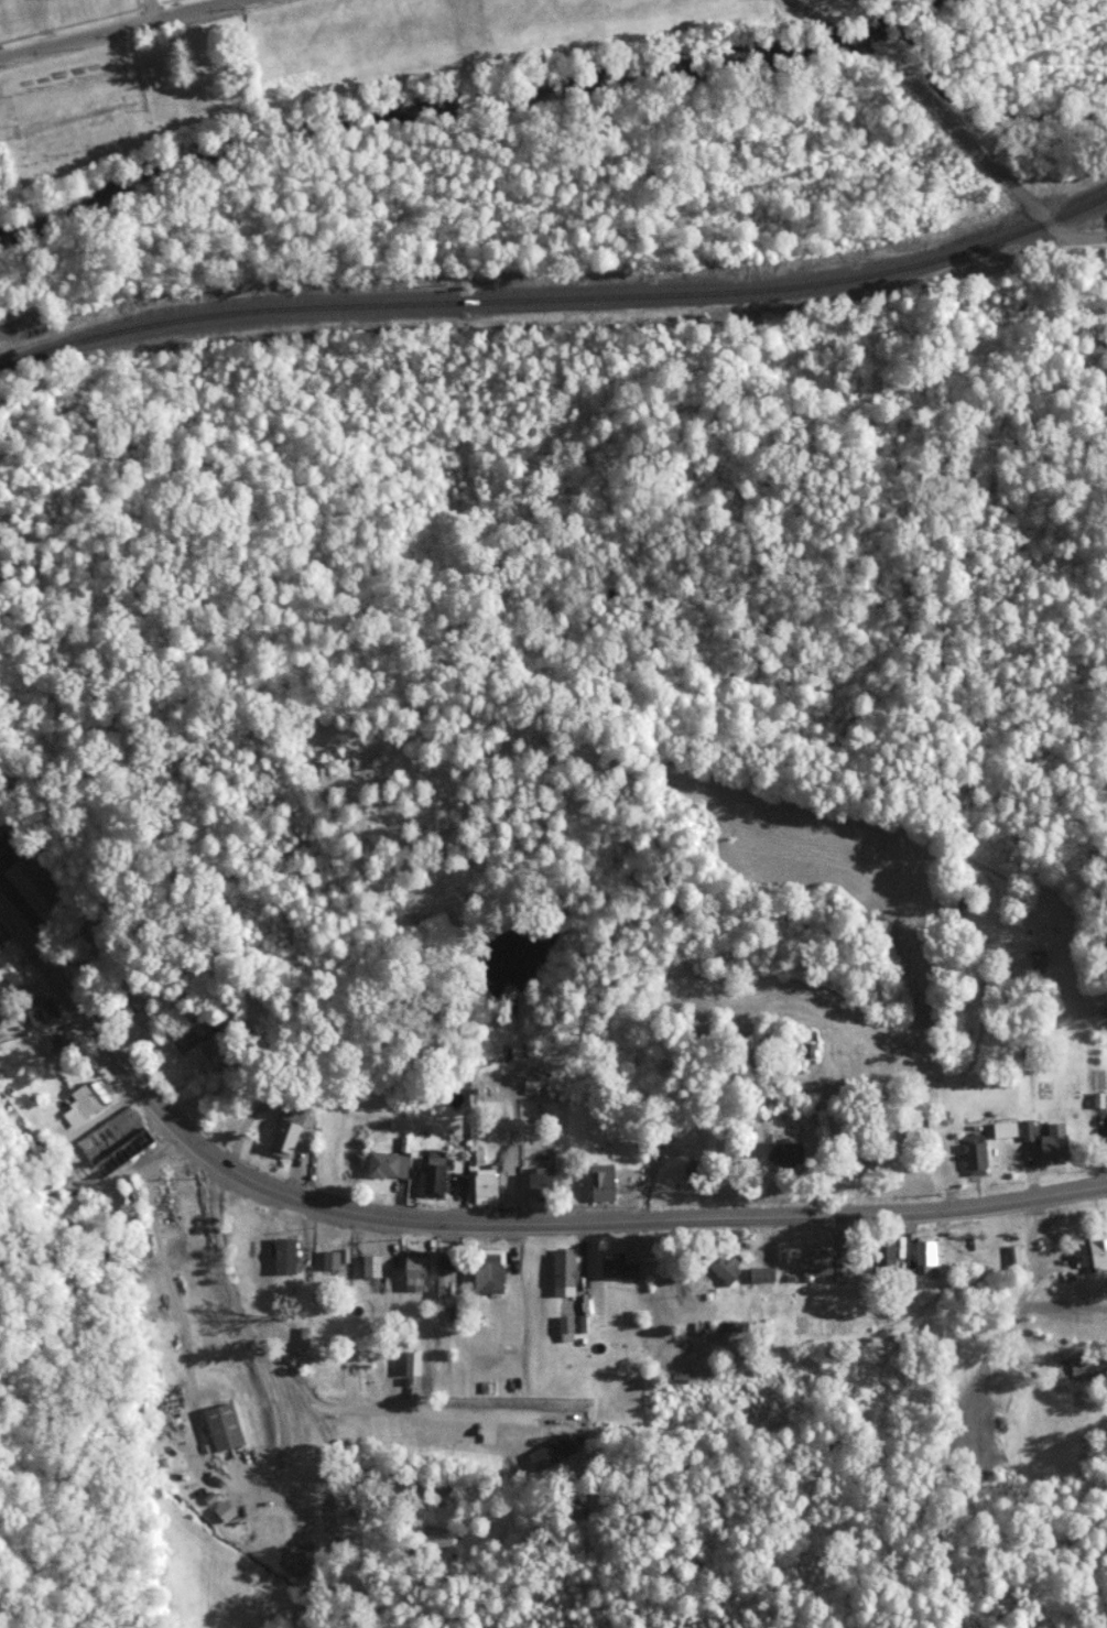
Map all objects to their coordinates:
road: (150, 9)
road: (811, 12)
road: (115, 29)
road: (855, 40)
river: (354, 132)
road: (989, 158)
railway: (557, 295)
building: (33, 884)
building: (97, 925)
building: (13, 972)
building: (122, 1003)
building: (42, 1016)
building: (194, 1034)
building: (811, 1044)
building: (63, 1045)
building: (91, 1098)
building: (289, 1132)
building: (918, 1133)
building: (1049, 1138)
building: (793, 1153)
building: (969, 1157)
building: (859, 1161)
building: (390, 1163)
building: (437, 1180)
building: (545, 1182)
building: (606, 1182)
building: (490, 1187)
building: (162, 1203)
road: (493, 1225)
building: (250, 1230)
building: (1095, 1248)
building: (784, 1252)
building: (929, 1257)
building: (287, 1258)
building: (886, 1258)
building: (1014, 1258)
building: (337, 1260)
building: (729, 1265)
building: (827, 1265)
building: (373, 1266)
building: (619, 1266)
building: (417, 1270)
building: (567, 1270)
building: (491, 1274)
building: (766, 1274)
building: (443, 1290)
road: (246, 1323)
building: (582, 1325)
building: (565, 1327)
building: (305, 1347)
building: (413, 1366)
building: (1088, 1368)
road: (378, 1412)
building: (223, 1426)
building: (452, 1431)
building: (351, 1535)
building: (436, 1537)
building: (295, 1562)

